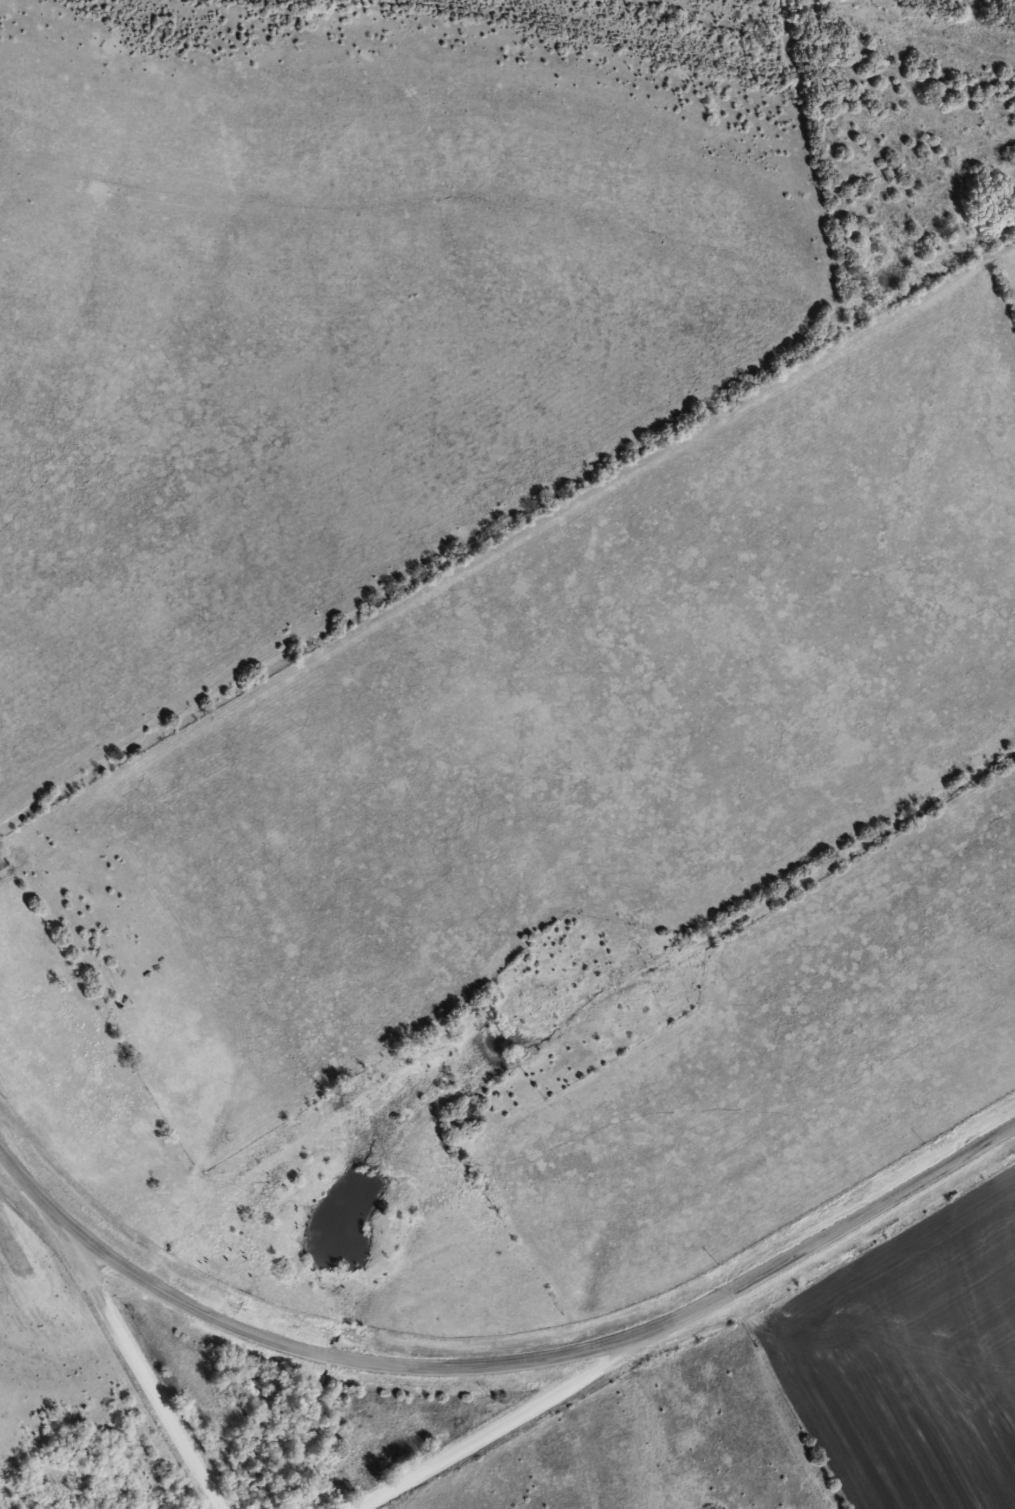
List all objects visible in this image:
road: (503, 1365)
road: (147, 1382)
road: (492, 1427)

